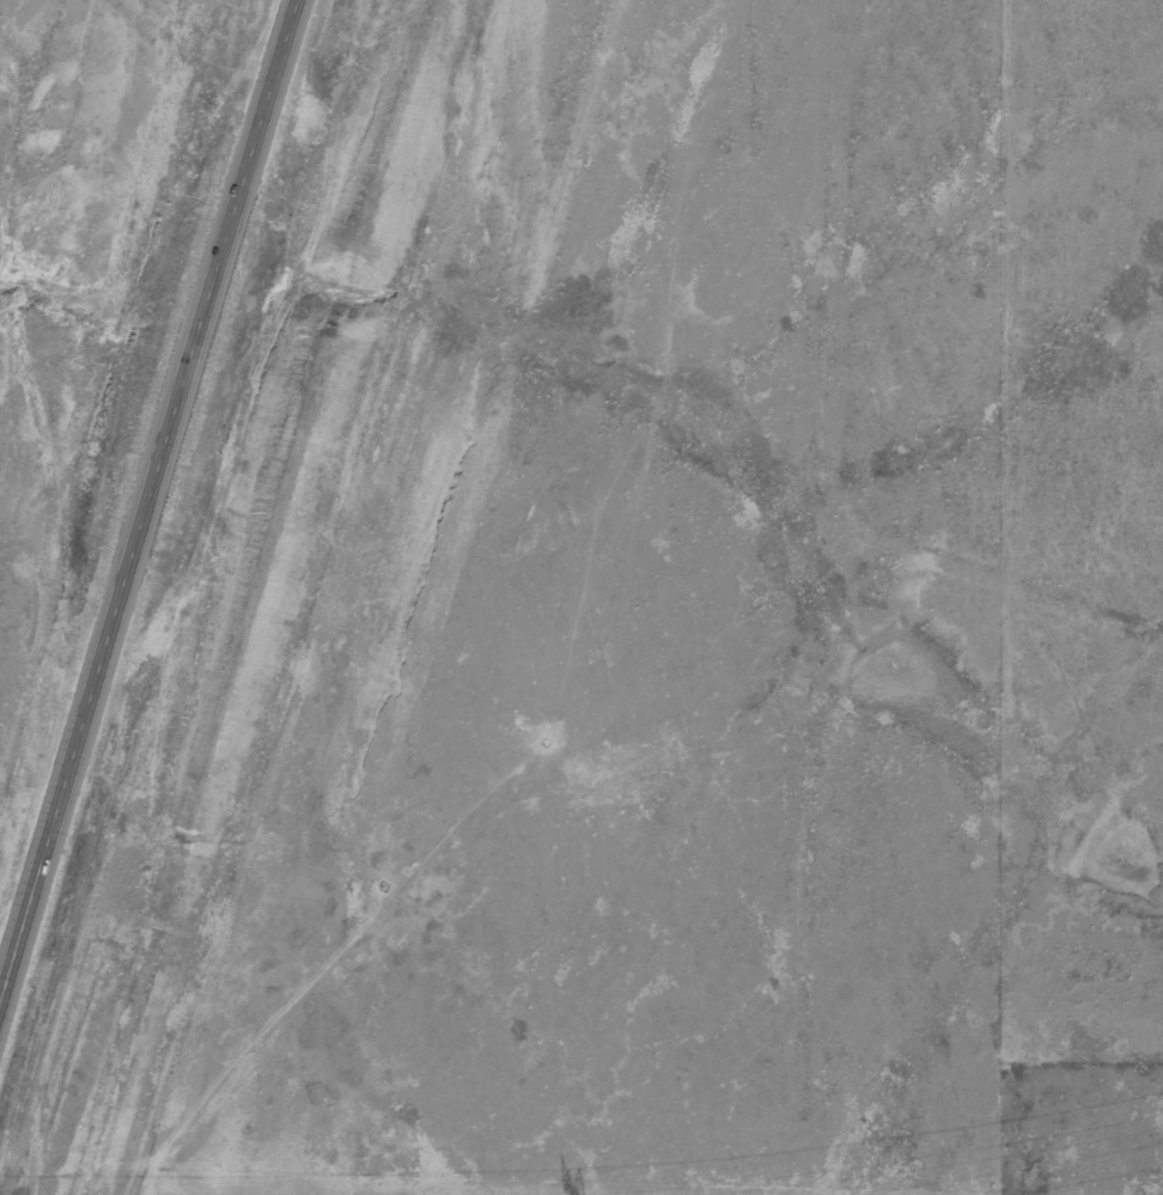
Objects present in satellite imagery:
road: (147, 493)

